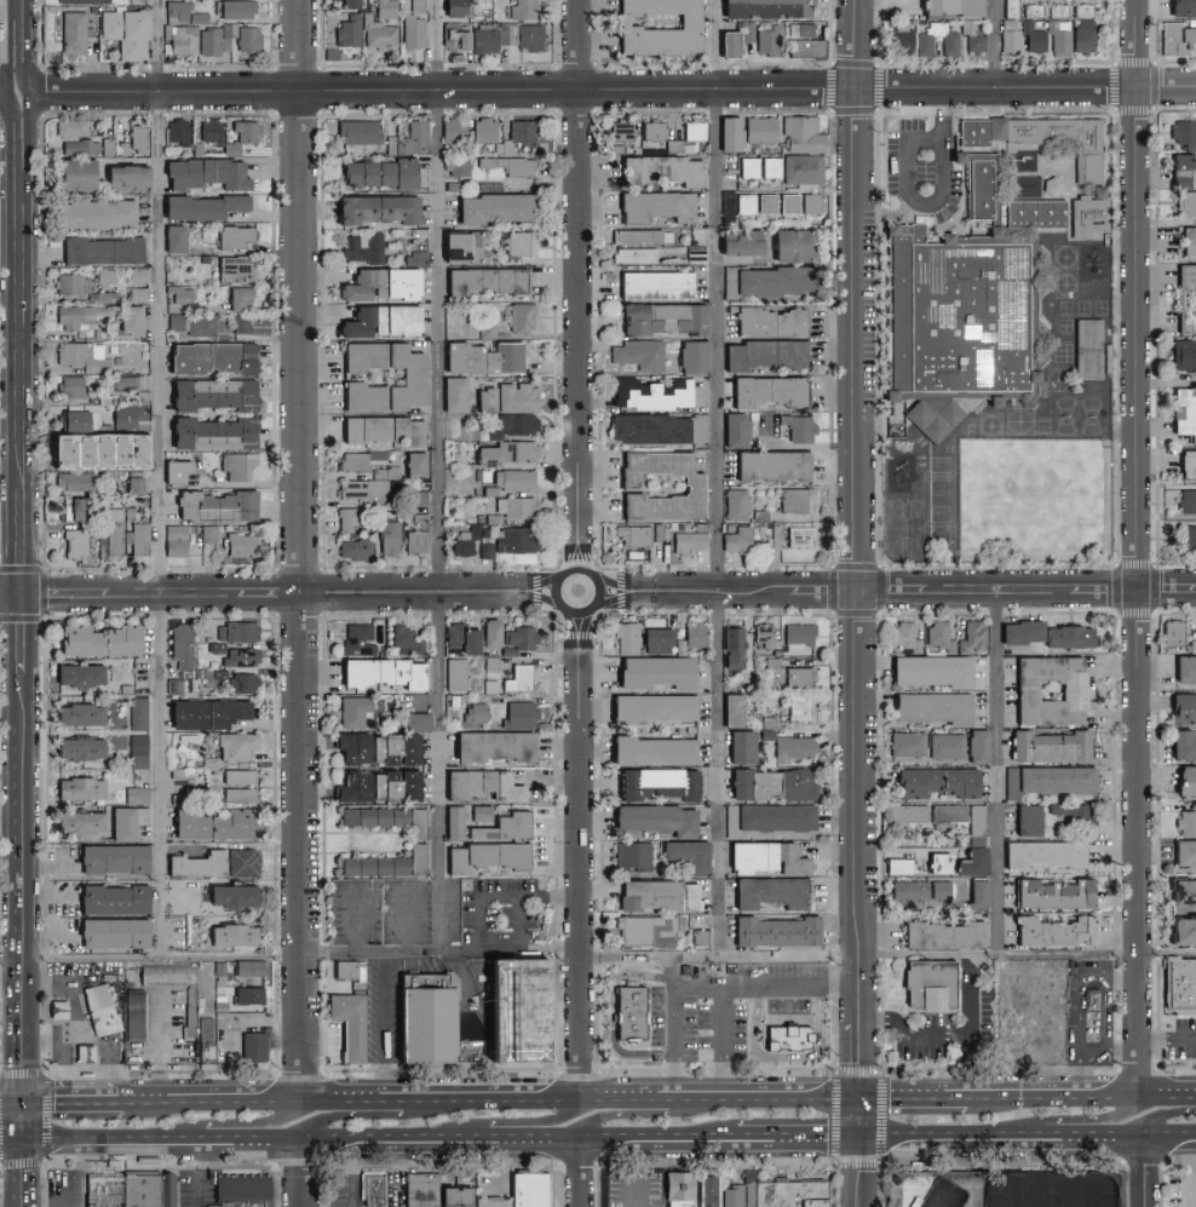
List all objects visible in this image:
building: (82, 1)
building: (346, 4)
building: (951, 7)
road: (11, 8)
building: (385, 8)
building: (453, 8)
building: (765, 8)
building: (1011, 8)
building: (1183, 8)
building: (235, 10)
building: (522, 10)
building: (176, 11)
building: (1082, 11)
building: (197, 18)
building: (656, 27)
building: (73, 30)
building: (347, 31)
building: (413, 31)
building: (747, 31)
building: (125, 33)
building: (378, 34)
building: (519, 35)
building: (1082, 35)
building: (454, 36)
building: (1033, 36)
building: (765, 38)
building: (972, 38)
building: (1010, 38)
building: (180, 39)
building: (228, 39)
building: (901, 39)
building: (1175, 39)
building: (483, 40)
building: (1060, 42)
building: (950, 45)
road: (995, 45)
building: (725, 46)
road: (29, 47)
building: (812, 50)
road: (12, 57)
road: (18, 75)
road: (613, 92)
road: (6, 96)
building: (69, 126)
building: (759, 128)
building: (209, 130)
building: (453, 130)
building: (483, 130)
building: (522, 130)
building: (651, 130)
building: (692, 130)
building: (978, 130)
building: (358, 131)
building: (620, 131)
building: (176, 132)
building: (728, 132)
building: (1184, 132)
road: (30, 133)
building: (800, 133)
building: (240, 136)
building: (137, 138)
building: (409, 138)
road: (18, 140)
building: (80, 145)
building: (507, 165)
building: (455, 166)
building: (770, 166)
parking lot: (922, 166)
building: (1185, 166)
building: (748, 167)
building: (801, 167)
building: (661, 168)
building: (205, 172)
building: (376, 172)
building: (74, 173)
building: (122, 177)
building: (990, 180)
road: (229, 194)
building: (744, 202)
building: (765, 202)
building: (787, 202)
building: (810, 202)
building: (1188, 202)
building: (654, 205)
road: (930, 205)
building: (200, 206)
building: (495, 206)
building: (726, 206)
building: (374, 207)
building: (93, 212)
building: (234, 235)
building: (642, 236)
building: (172, 237)
building: (1188, 240)
building: (518, 242)
building: (738, 243)
building: (788, 243)
building: (461, 245)
building: (362, 248)
building: (99, 249)
building: (632, 254)
building: (694, 254)
building: (234, 266)
building: (136, 275)
building: (1186, 276)
building: (484, 278)
building: (774, 280)
building: (70, 283)
building: (380, 283)
road: (577, 283)
building: (654, 284)
road: (13, 292)
building: (136, 293)
building: (179, 294)
building: (105, 297)
building: (238, 298)
building: (80, 315)
building: (521, 316)
building: (661, 317)
building: (1186, 318)
building: (127, 320)
building: (379, 320)
building: (174, 321)
building: (764, 321)
building: (234, 323)
building: (200, 324)
road: (30, 329)
building: (968, 333)
building: (1086, 349)
building: (761, 352)
building: (1183, 352)
building: (639, 354)
building: (82, 356)
building: (229, 356)
building: (691, 356)
building: (184, 357)
building: (482, 357)
building: (1098, 360)
building: (409, 375)
building: (69, 386)
building: (766, 390)
building: (209, 393)
building: (453, 393)
building: (650, 393)
building: (516, 397)
building: (484, 398)
building: (1184, 410)
building: (127, 416)
building: (71, 420)
building: (516, 424)
building: (798, 426)
building: (648, 427)
building: (380, 429)
building: (732, 429)
building: (698, 430)
building: (209, 432)
building: (136, 443)
building: (70, 450)
building: (517, 450)
building: (484, 456)
building: (1186, 461)
building: (413, 462)
building: (236, 465)
building: (770, 465)
building: (174, 470)
building: (367, 476)
road: (441, 476)
road: (161, 477)
building: (512, 478)
road: (719, 478)
building: (74, 479)
building: (692, 481)
building: (133, 484)
building: (795, 499)
building: (1188, 500)
park: (1034, 501)
building: (735, 504)
building: (214, 505)
building: (71, 507)
building: (347, 519)
building: (110, 531)
building: (207, 533)
building: (632, 535)
building: (798, 535)
building: (1188, 536)
building: (389, 538)
building: (139, 539)
building: (174, 539)
building: (414, 540)
building: (736, 540)
road: (24, 541)
building: (688, 541)
building: (74, 542)
building: (462, 542)
building: (241, 545)
building: (511, 546)
building: (355, 548)
road: (1135, 548)
road: (861, 550)
road: (299, 551)
road: (554, 581)
road: (896, 592)
road: (12, 597)
road: (289, 597)
building: (235, 631)
building: (1019, 631)
building: (488, 632)
building: (1172, 632)
building: (763, 634)
road: (24, 636)
building: (692, 636)
building: (797, 636)
building: (904, 636)
building: (938, 636)
building: (1066, 636)
building: (460, 637)
building: (518, 637)
building: (971, 637)
building: (625, 638)
building: (96, 639)
building: (357, 639)
building: (655, 639)
building: (406, 640)
building: (730, 645)
building: (215, 646)
building: (179, 648)
building: (240, 657)
building: (930, 669)
building: (1184, 669)
building: (655, 671)
building: (381, 672)
building: (76, 674)
building: (454, 674)
building: (798, 674)
building: (521, 677)
building: (242, 683)
building: (1048, 690)
building: (651, 707)
building: (800, 707)
building: (932, 707)
building: (1183, 707)
building: (730, 709)
building: (352, 711)
building: (137, 712)
building: (76, 713)
building: (208, 713)
building: (472, 713)
road: (12, 714)
building: (518, 714)
building: (415, 720)
building: (907, 743)
building: (490, 745)
building: (1181, 745)
building: (235, 746)
building: (738, 746)
building: (945, 746)
building: (976, 746)
building: (1048, 746)
building: (376, 747)
building: (76, 748)
building: (792, 748)
building: (137, 751)
road: (1000, 772)
building: (237, 776)
building: (1047, 780)
building: (933, 781)
building: (1185, 781)
building: (657, 783)
building: (770, 783)
building: (481, 784)
building: (376, 786)
building: (76, 788)
building: (134, 794)
building: (237, 794)
building: (479, 812)
building: (907, 812)
building: (947, 812)
building: (1071, 812)
building: (373, 816)
building: (766, 817)
building: (655, 818)
building: (1025, 820)
building: (453, 821)
building: (77, 822)
building: (1186, 822)
building: (120, 823)
building: (212, 824)
building: (976, 824)
building: (501, 827)
road: (581, 853)
building: (1042, 853)
building: (1184, 853)
building: (632, 855)
building: (686, 855)
building: (482, 856)
building: (765, 857)
building: (110, 858)
building: (418, 858)
building: (972, 861)
road: (52, 862)
building: (242, 862)
building: (196, 864)
building: (373, 866)
building: (939, 889)
road: (27, 890)
building: (908, 890)
building: (770, 891)
building: (1181, 891)
road: (53, 892)
building: (646, 893)
building: (1051, 893)
building: (228, 895)
building: (976, 895)
road: (513, 896)
building: (688, 896)
building: (111, 899)
road: (521, 910)
road: (357, 916)
road: (406, 916)
building: (1181, 929)
building: (646, 931)
building: (775, 931)
building: (1053, 931)
building: (110, 932)
road: (54, 935)
building: (228, 935)
building: (942, 935)
road: (362, 953)
road: (960, 954)
building: (248, 967)
building: (347, 970)
building: (171, 975)
road: (1102, 976)
road: (1012, 978)
road: (723, 983)
building: (937, 983)
building: (1177, 988)
building: (247, 995)
building: (56, 1008)
building: (529, 1011)
building: (628, 1012)
building: (105, 1013)
building: (422, 1016)
building: (137, 1021)
building: (188, 1022)
building: (346, 1023)
road: (386, 1027)
building: (795, 1028)
building: (634, 1034)
building: (1013, 1038)
road: (1169, 1038)
road: (674, 1040)
road: (729, 1041)
road: (159, 1047)
building: (248, 1047)
road: (1122, 1056)
road: (1080, 1079)
road: (1171, 1098)
road: (495, 1099)
road: (916, 1099)
road: (1057, 1099)
road: (77, 1104)
road: (15, 1105)
road: (637, 1116)
road: (1163, 1116)
road: (364, 1117)
road: (1077, 1120)
road: (864, 1121)
road: (514, 1123)
road: (29, 1126)
road: (241, 1126)
road: (1005, 1139)
road: (1171, 1140)
road: (799, 1143)
road: (381, 1144)
road: (15, 1146)
road: (1146, 1173)
road: (1195, 1173)
road: (583, 1174)
road: (637, 1174)
road: (863, 1174)
road: (201, 1176)
road: (303, 1176)
road: (352, 1176)
road: (29, 1177)
building: (747, 1178)
building: (420, 1189)
building: (527, 1189)
building: (153, 1190)
building: (375, 1190)
building: (684, 1190)
building: (712, 1190)
park: (1050, 1190)
building: (246, 1191)
building: (780, 1194)
park: (943, 1195)
building: (903, 1196)
building: (453, 1197)
building: (489, 1202)
building: (918, 1203)
road: (81, 1206)

